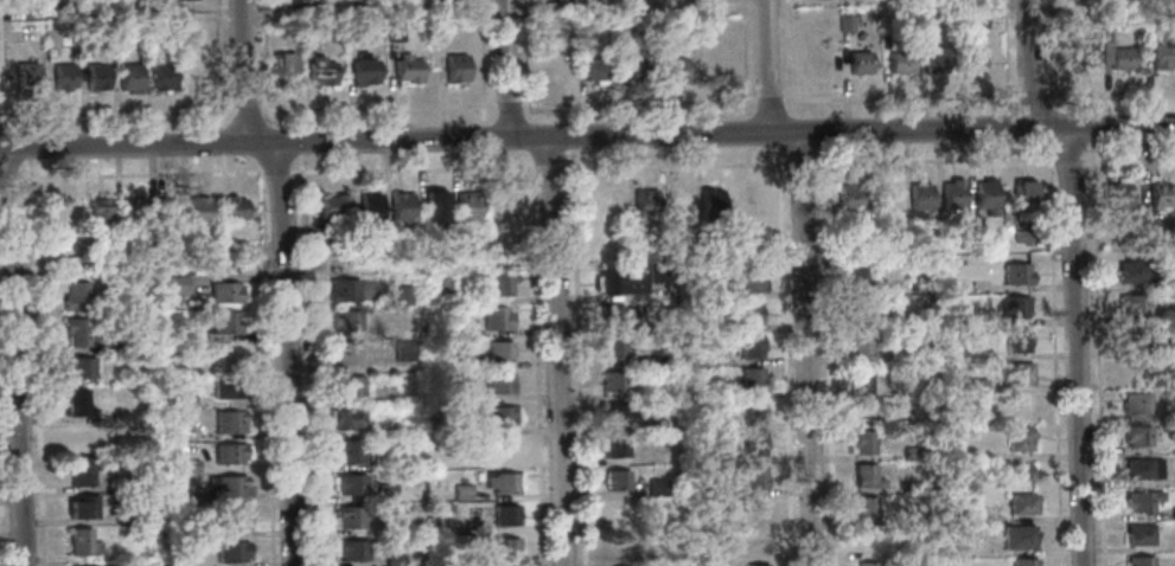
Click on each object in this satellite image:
building: (185, 0)
building: (415, 1)
building: (36, 4)
building: (69, 8)
building: (1106, 18)
building: (977, 19)
building: (927, 21)
building: (1149, 21)
building: (845, 22)
building: (621, 27)
building: (352, 32)
building: (394, 32)
building: (309, 33)
building: (52, 37)
road: (1048, 47)
road: (787, 49)
road: (524, 51)
building: (1106, 53)
road: (262, 54)
building: (1162, 56)
road: (1005, 57)
building: (1081, 57)
building: (1122, 58)
road: (743, 60)
road: (481, 62)
building: (822, 62)
building: (935, 62)
building: (971, 62)
road: (218, 63)
building: (858, 63)
building: (900, 63)
road: (1028, 64)
road: (768, 65)
building: (455, 67)
building: (713, 67)
road: (505, 69)
building: (634, 69)
building: (364, 70)
building: (561, 70)
building: (675, 70)
road: (244, 71)
building: (283, 71)
building: (320, 71)
building: (407, 71)
building: (596, 71)
building: (26, 76)
building: (96, 76)
building: (63, 77)
building: (161, 77)
road: (1, 78)
building: (129, 78)
road: (1111, 94)
road: (1033, 95)
road: (899, 97)
road: (768, 99)
road: (638, 102)
road: (509, 104)
road: (1088, 104)
road: (378, 107)
road: (818, 108)
road: (247, 110)
road: (116, 111)
road: (570, 112)
road: (298, 118)
road: (1008, 127)
road: (1090, 127)
road: (819, 130)
road: (746, 133)
road: (570, 135)
road: (587, 135)
road: (483, 137)
road: (222, 141)
road: (298, 141)
road: (1008, 149)
road: (28, 153)
road: (747, 154)
road: (1128, 156)
road: (1068, 157)
road: (484, 159)
road: (805, 161)
road: (223, 163)
road: (545, 168)
road: (410, 169)
road: (275, 172)
road: (130, 173)
building: (952, 194)
building: (985, 195)
building: (1160, 195)
building: (848, 197)
building: (919, 197)
building: (1024, 197)
building: (1118, 197)
building: (606, 200)
building: (644, 202)
building: (679, 202)
building: (710, 204)
building: (466, 206)
building: (231, 207)
building: (333, 207)
building: (434, 207)
building: (370, 208)
building: (401, 208)
building: (63, 211)
building: (198, 211)
building: (132, 212)
building: (165, 212)
building: (98, 213)
building: (1149, 230)
building: (976, 233)
building: (858, 236)
building: (1022, 236)
building: (321, 239)
building: (700, 239)
building: (637, 242)
building: (358, 245)
building: (189, 247)
building: (59, 255)
building: (90, 256)
building: (1017, 274)
building: (1134, 274)
building: (857, 278)
building: (748, 281)
building: (619, 283)
building: (175, 284)
building: (499, 284)
building: (440, 287)
building: (949, 287)
building: (343, 290)
building: (224, 291)
building: (713, 292)
building: (402, 294)
building: (660, 294)
building: (76, 296)
building: (1132, 304)
building: (1015, 307)
building: (858, 311)
building: (749, 314)
building: (611, 316)
building: (496, 319)
building: (344, 320)
building: (226, 322)
building: (78, 332)
building: (459, 332)
building: (185, 333)
building: (1132, 337)
building: (133, 340)
building: (1016, 340)
building: (860, 345)
building: (749, 346)
road: (1077, 346)
building: (611, 348)
road: (809, 348)
building: (1163, 348)
building: (402, 350)
road: (558, 350)
building: (499, 352)
road: (1096, 352)
building: (343, 353)
road: (286, 354)
road: (825, 354)
building: (226, 355)
road: (15, 356)
road: (576, 356)
road: (305, 360)
road: (36, 361)
road: (1054, 361)
building: (455, 364)
road: (784, 364)
road: (535, 366)
building: (78, 367)
road: (264, 367)
building: (1135, 368)
building: (1018, 373)
building: (861, 377)
building: (752, 379)
building: (613, 381)
building: (498, 384)
building: (976, 385)
building: (347, 386)
building: (226, 387)
building: (909, 387)
building: (721, 391)
building: (183, 398)
building: (76, 401)
building: (1136, 404)
building: (1018, 405)
building: (864, 411)
building: (752, 413)
building: (617, 414)
building: (977, 416)
building: (500, 417)
building: (345, 419)
building: (230, 423)
building: (653, 424)
building: (1137, 436)
building: (84, 437)
building: (1020, 439)
building: (861, 444)
building: (753, 445)
building: (613, 446)
building: (503, 450)
building: (231, 452)
building: (346, 452)
building: (912, 454)
building: (448, 462)
building: (184, 465)
building: (1000, 467)
building: (1143, 469)
building: (79, 470)
building: (754, 477)
building: (867, 477)
building: (617, 481)
building: (116, 483)
building: (503, 483)
building: (347, 484)
building: (229, 485)
building: (658, 488)
building: (705, 489)
building: (384, 493)
building: (461, 493)
building: (1142, 500)
building: (1022, 504)
building: (83, 507)
building: (435, 508)
building: (448, 508)
building: (758, 509)
building: (866, 509)
building: (618, 513)
building: (1174, 513)
building: (504, 515)
building: (912, 515)
building: (129, 516)
building: (349, 517)
building: (231, 519)
building: (1139, 534)
road: (0, 539)
building: (1018, 539)
building: (82, 542)
building: (619, 544)
building: (505, 548)
building: (350, 551)
building: (231, 552)
building: (394, 560)
building: (467, 560)
building: (1139, 561)
building: (1024, 562)
building: (758, 565)
building: (867, 565)

